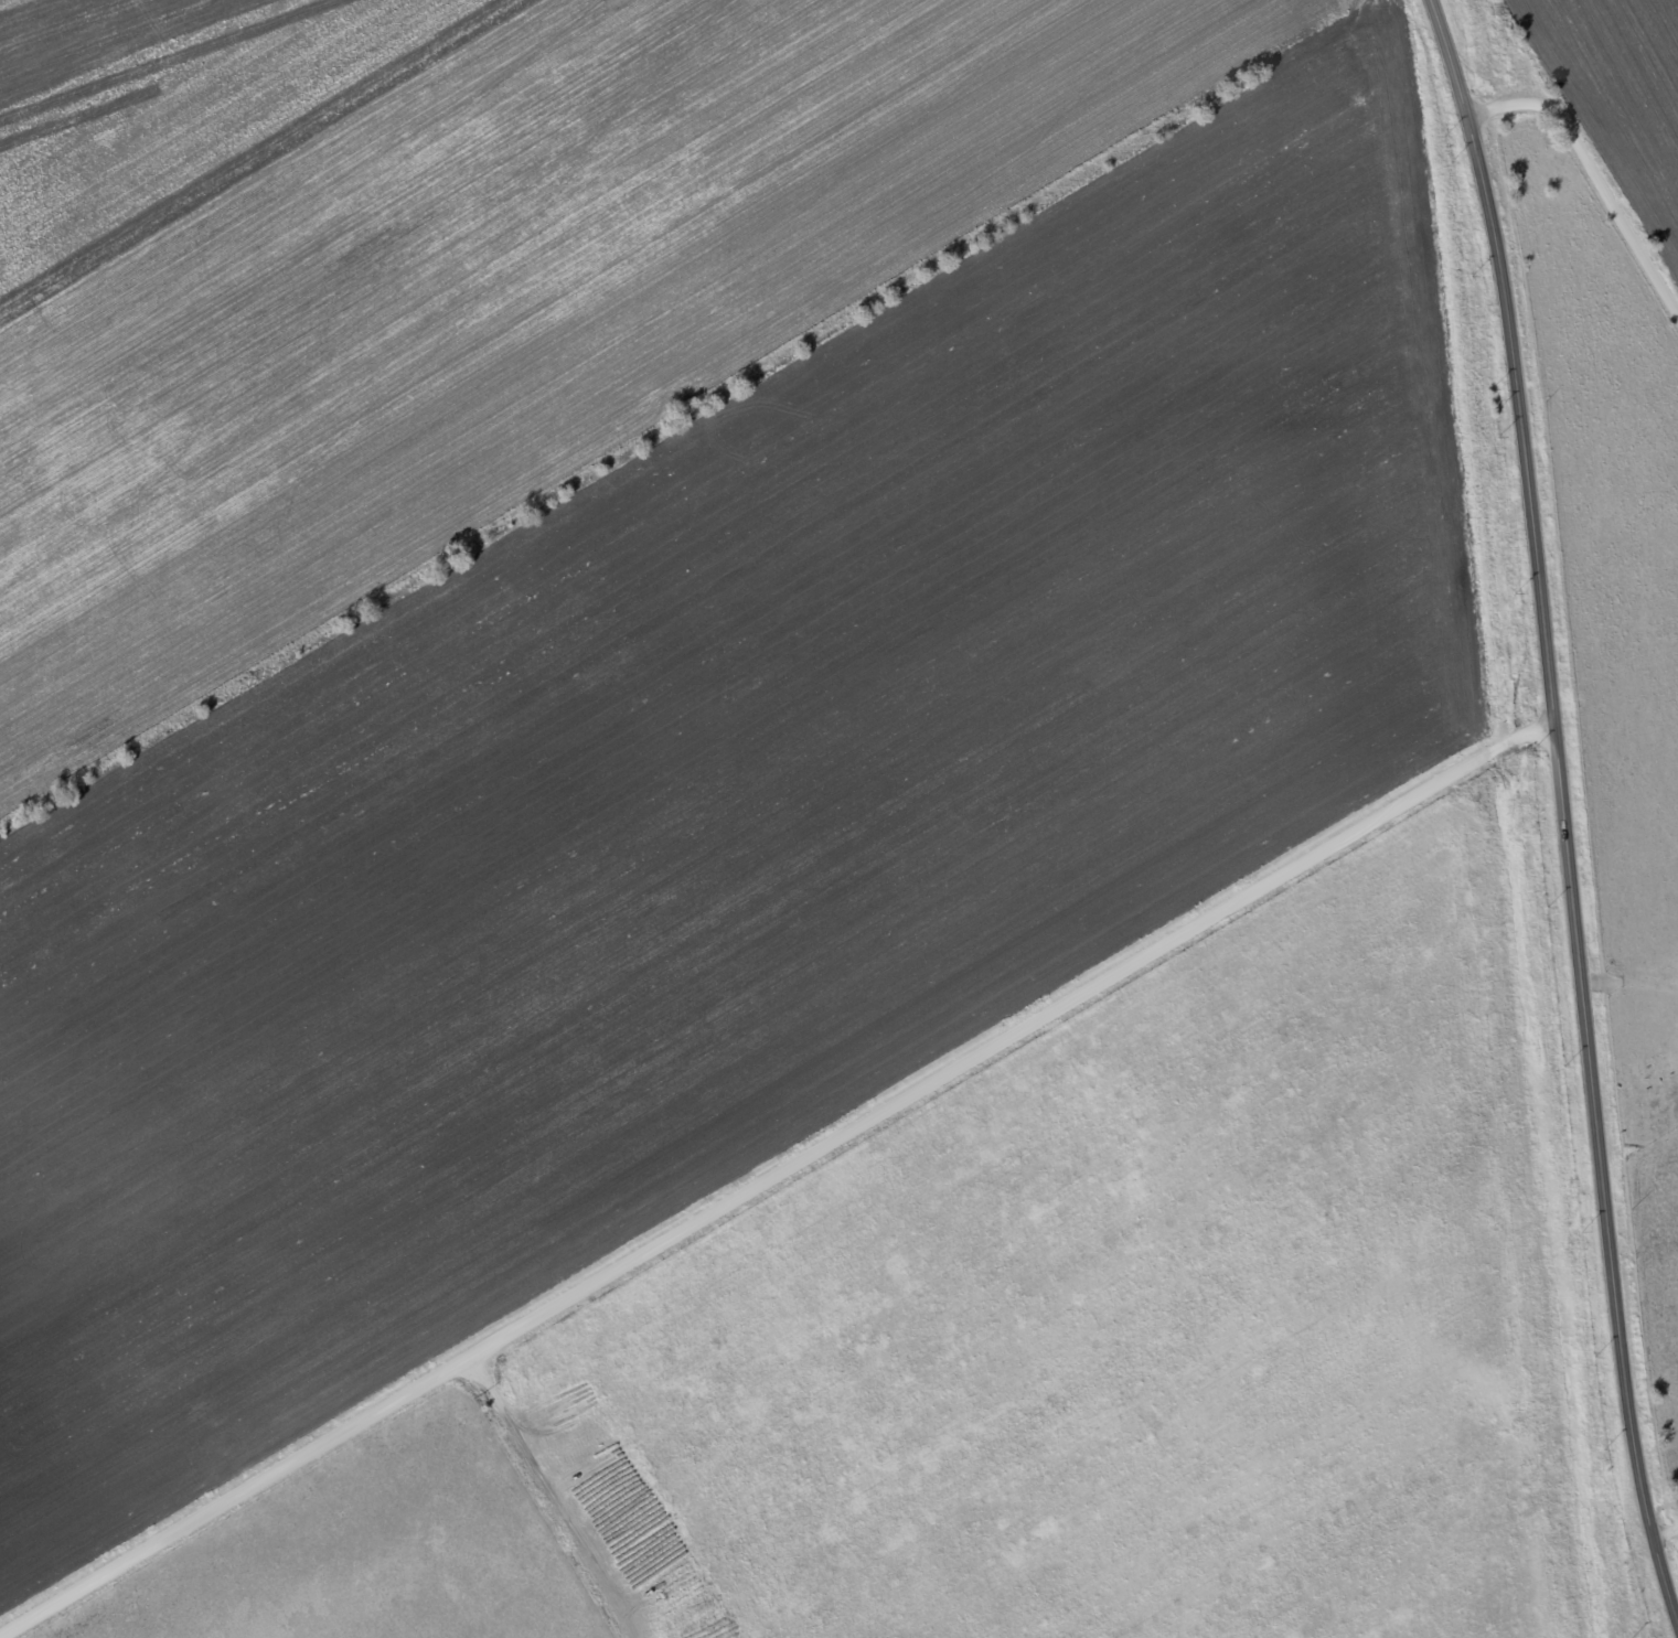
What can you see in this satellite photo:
road: (1594, 174)
road: (1563, 809)
road: (774, 1177)
road: (1665, 1534)

